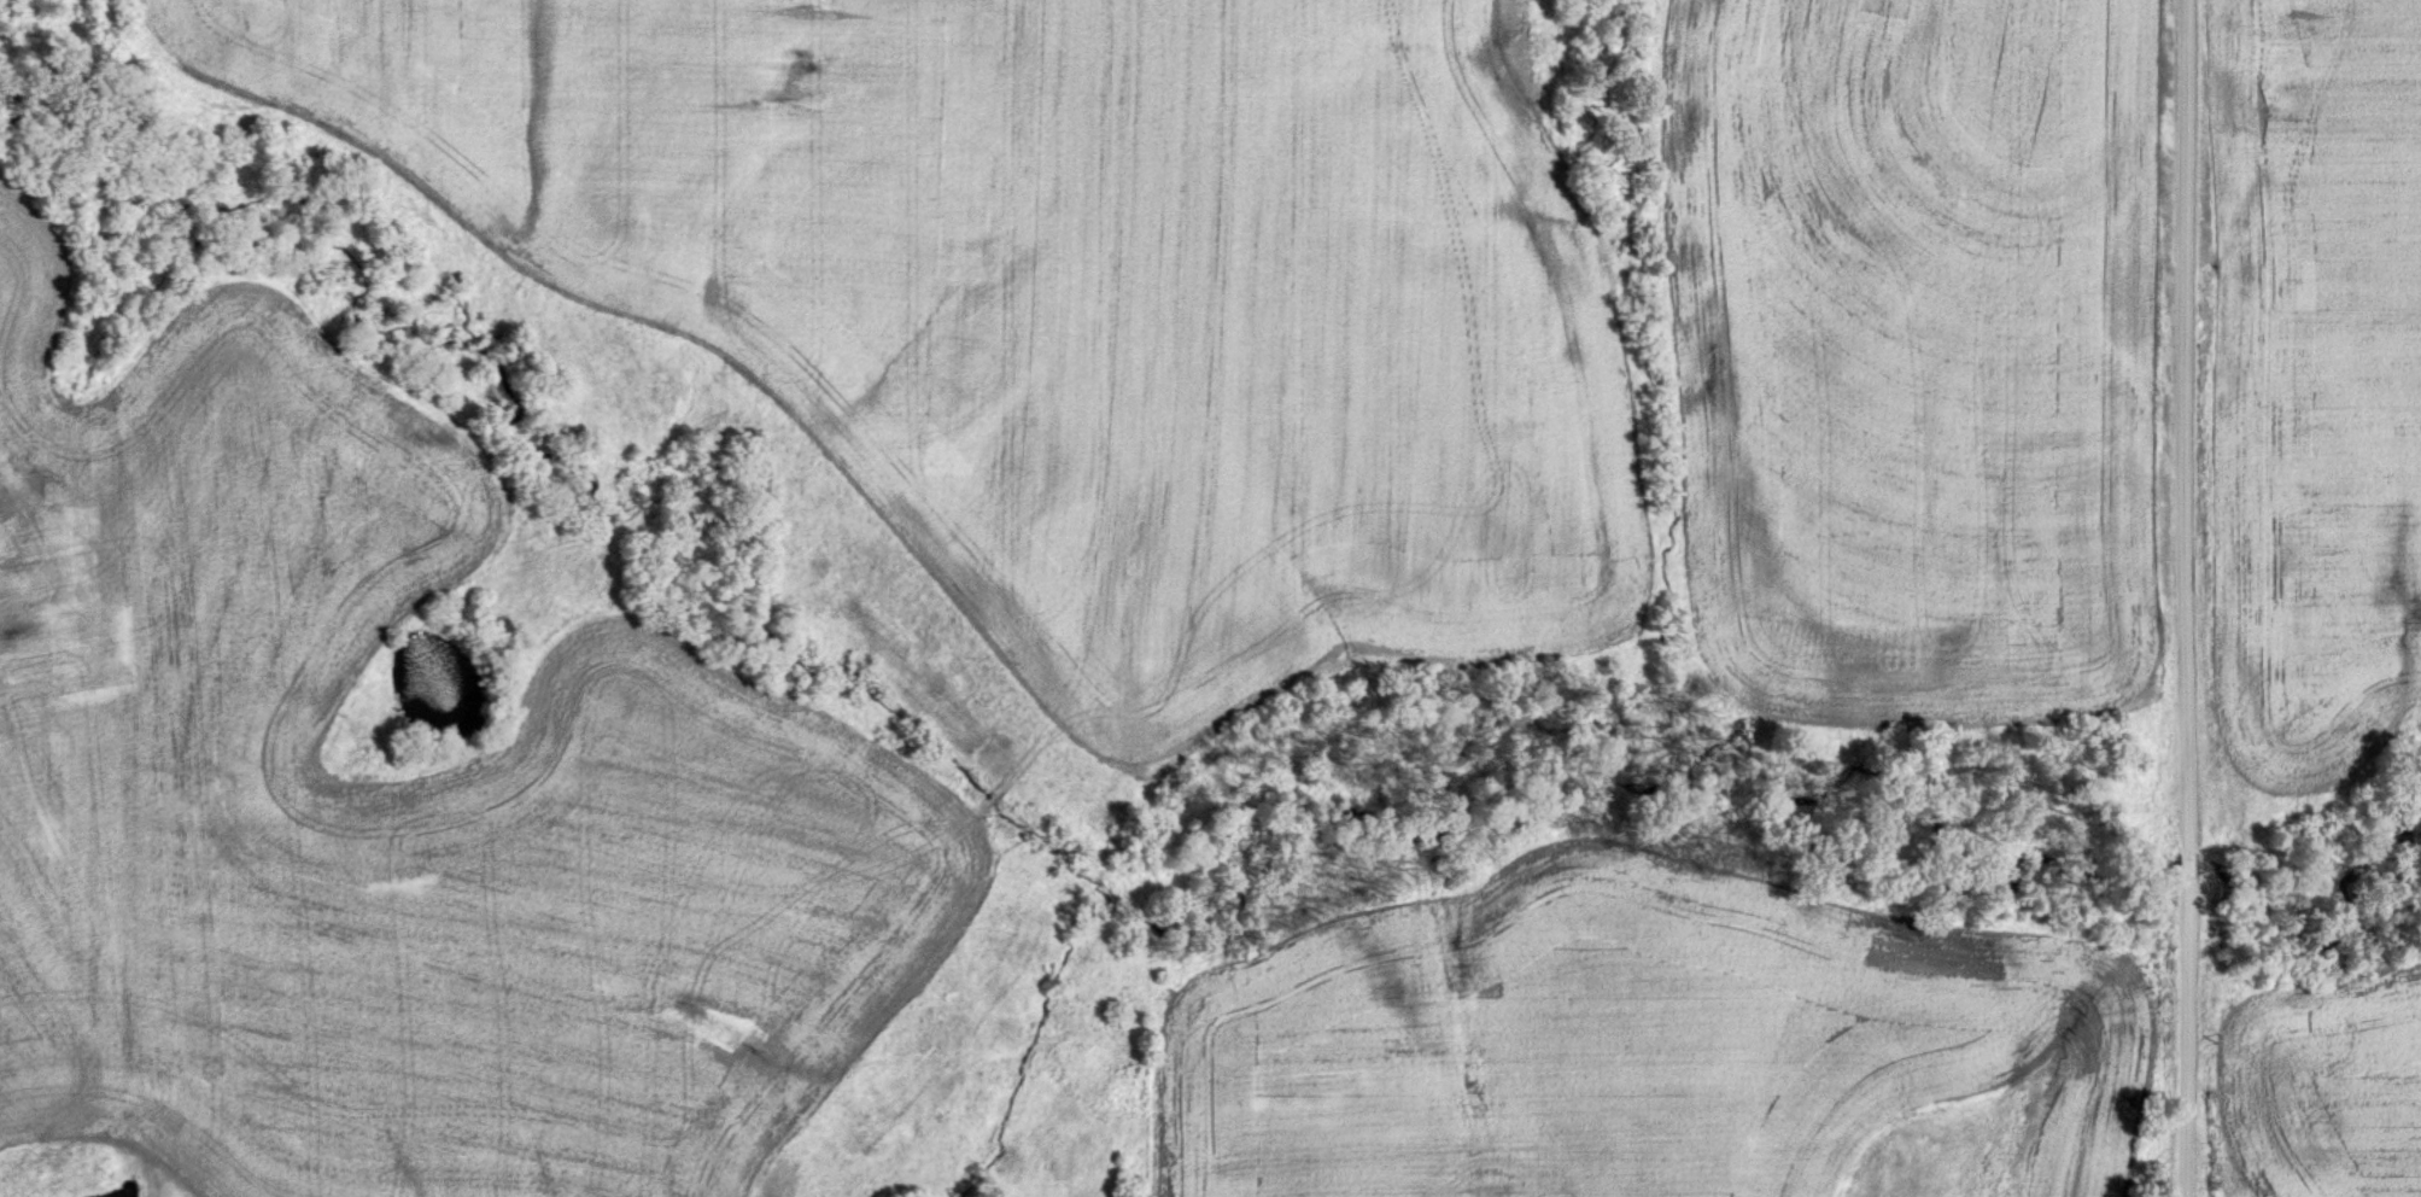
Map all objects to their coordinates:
road: (2183, 598)

